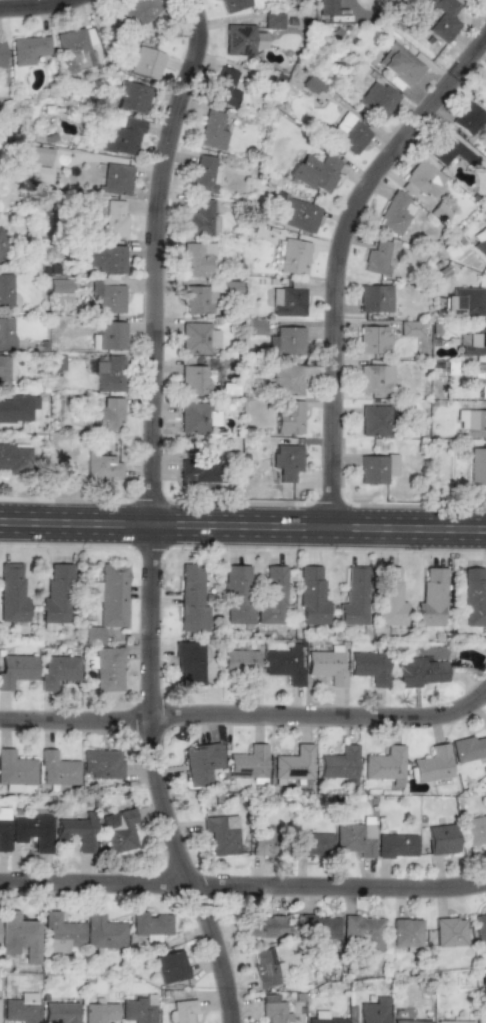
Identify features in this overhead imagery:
road: (484, 1)
road: (36, 4)
building: (233, 4)
building: (327, 7)
building: (136, 12)
building: (443, 19)
building: (273, 20)
building: (243, 39)
building: (28, 49)
building: (73, 49)
building: (1, 54)
building: (145, 62)
building: (400, 64)
building: (312, 84)
building: (225, 86)
building: (132, 97)
building: (378, 99)
building: (469, 118)
building: (212, 130)
building: (349, 133)
building: (120, 137)
building: (448, 149)
building: (38, 155)
building: (316, 171)
building: (37, 172)
building: (204, 174)
building: (116, 178)
building: (422, 181)
building: (41, 206)
building: (395, 213)
building: (114, 218)
building: (201, 219)
building: (480, 243)
building: (2, 247)
building: (293, 256)
building: (106, 257)
building: (197, 257)
road: (338, 258)
building: (377, 258)
building: (59, 285)
building: (5, 289)
building: (107, 296)
building: (198, 298)
building: (375, 298)
building: (288, 299)
building: (464, 302)
building: (256, 326)
building: (411, 328)
building: (6, 333)
building: (108, 335)
building: (198, 337)
building: (373, 339)
building: (286, 341)
building: (473, 342)
building: (5, 370)
building: (108, 372)
building: (480, 377)
building: (375, 378)
building: (285, 379)
building: (194, 380)
building: (19, 408)
building: (109, 414)
building: (288, 416)
building: (196, 417)
building: (374, 420)
building: (472, 421)
building: (15, 457)
building: (286, 461)
building: (101, 466)
building: (477, 466)
building: (377, 468)
building: (198, 469)
road: (145, 514)
road: (243, 523)
building: (94, 591)
building: (12, 593)
building: (56, 594)
building: (112, 594)
building: (237, 594)
building: (272, 594)
building: (312, 596)
building: (354, 597)
building: (389, 597)
building: (432, 597)
building: (474, 597)
building: (191, 599)
building: (93, 634)
building: (239, 660)
building: (189, 663)
building: (285, 664)
building: (327, 664)
building: (370, 667)
building: (107, 668)
building: (15, 669)
building: (57, 670)
building: (419, 671)
road: (246, 721)
building: (468, 748)
building: (101, 762)
building: (200, 762)
building: (248, 763)
building: (293, 763)
building: (384, 763)
building: (339, 764)
building: (432, 764)
building: (15, 768)
building: (57, 769)
building: (3, 829)
building: (475, 829)
building: (118, 830)
building: (32, 831)
building: (76, 832)
building: (220, 836)
building: (356, 837)
building: (442, 839)
building: (262, 840)
building: (311, 843)
building: (396, 845)
road: (243, 893)
building: (149, 923)
building: (264, 926)
building: (479, 926)
building: (321, 927)
building: (363, 930)
building: (102, 931)
building: (449, 931)
building: (406, 932)
building: (59, 933)
building: (20, 934)
building: (170, 967)
building: (266, 968)
building: (21, 1008)
building: (138, 1009)
building: (273, 1009)
building: (183, 1010)
building: (373, 1011)
building: (60, 1012)
building: (99, 1012)
building: (323, 1018)
building: (485, 1019)
building: (410, 1021)
building: (452, 1021)

